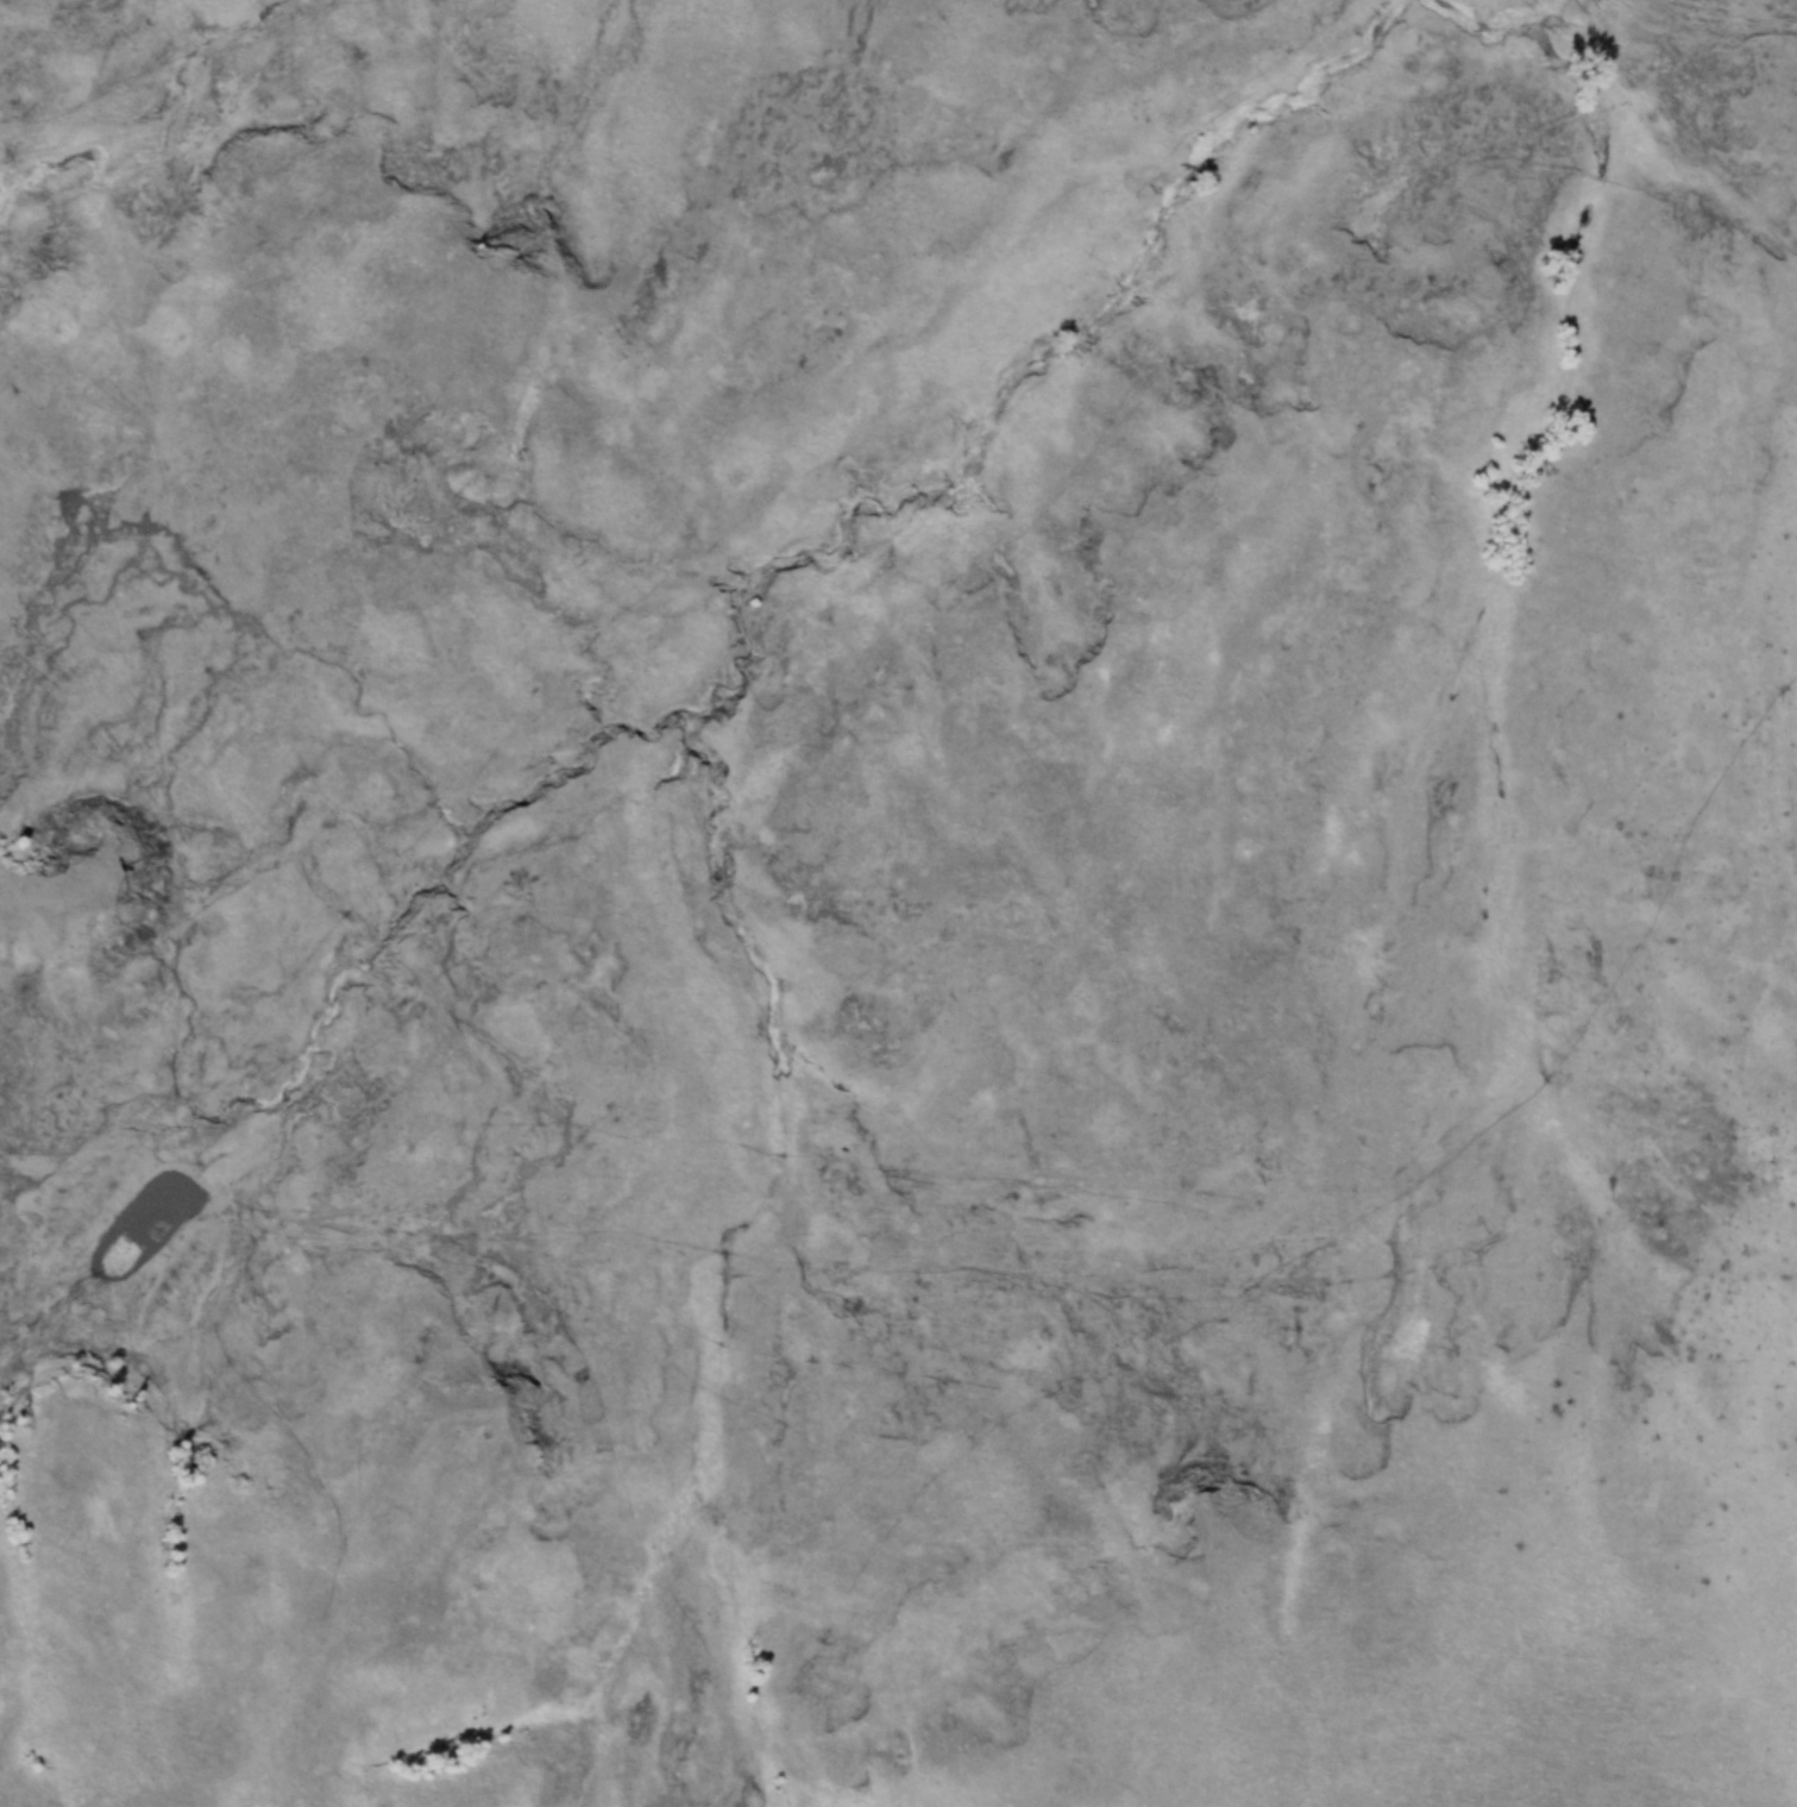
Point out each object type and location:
road: (1719, 25)

